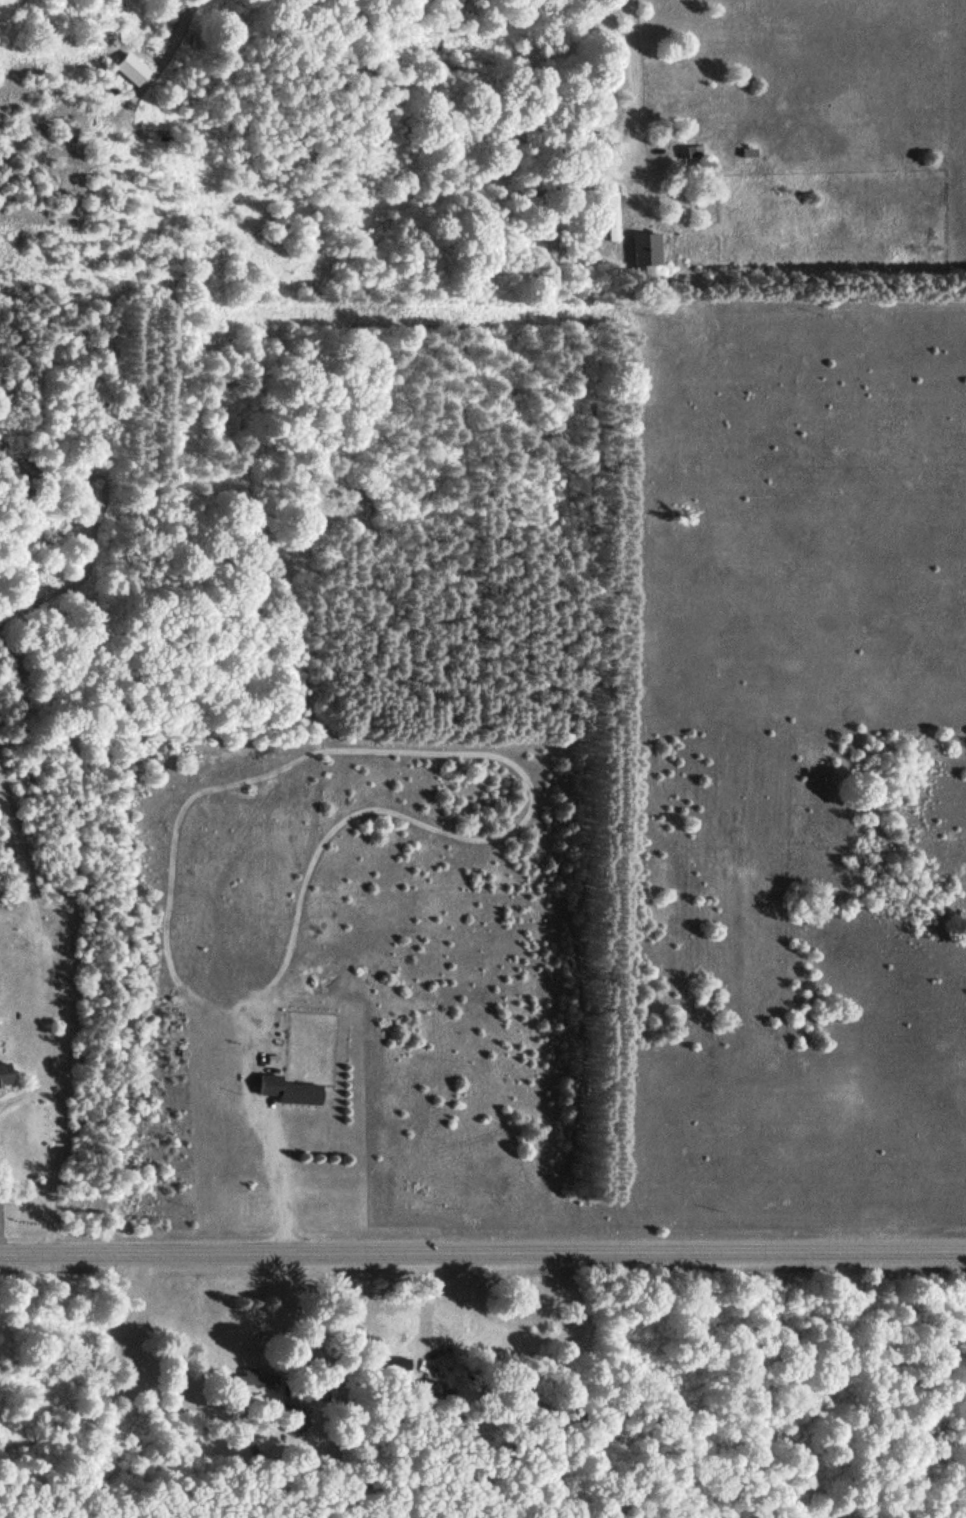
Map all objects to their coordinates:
building: (129, 68)
building: (688, 150)
building: (549, 183)
building: (610, 216)
building: (643, 248)
road: (292, 252)
road: (664, 391)
building: (4, 1074)
building: (287, 1090)
road: (280, 1147)
road: (483, 1251)
building: (384, 1365)
building: (258, 1377)
building: (424, 1391)
building: (293, 1416)

